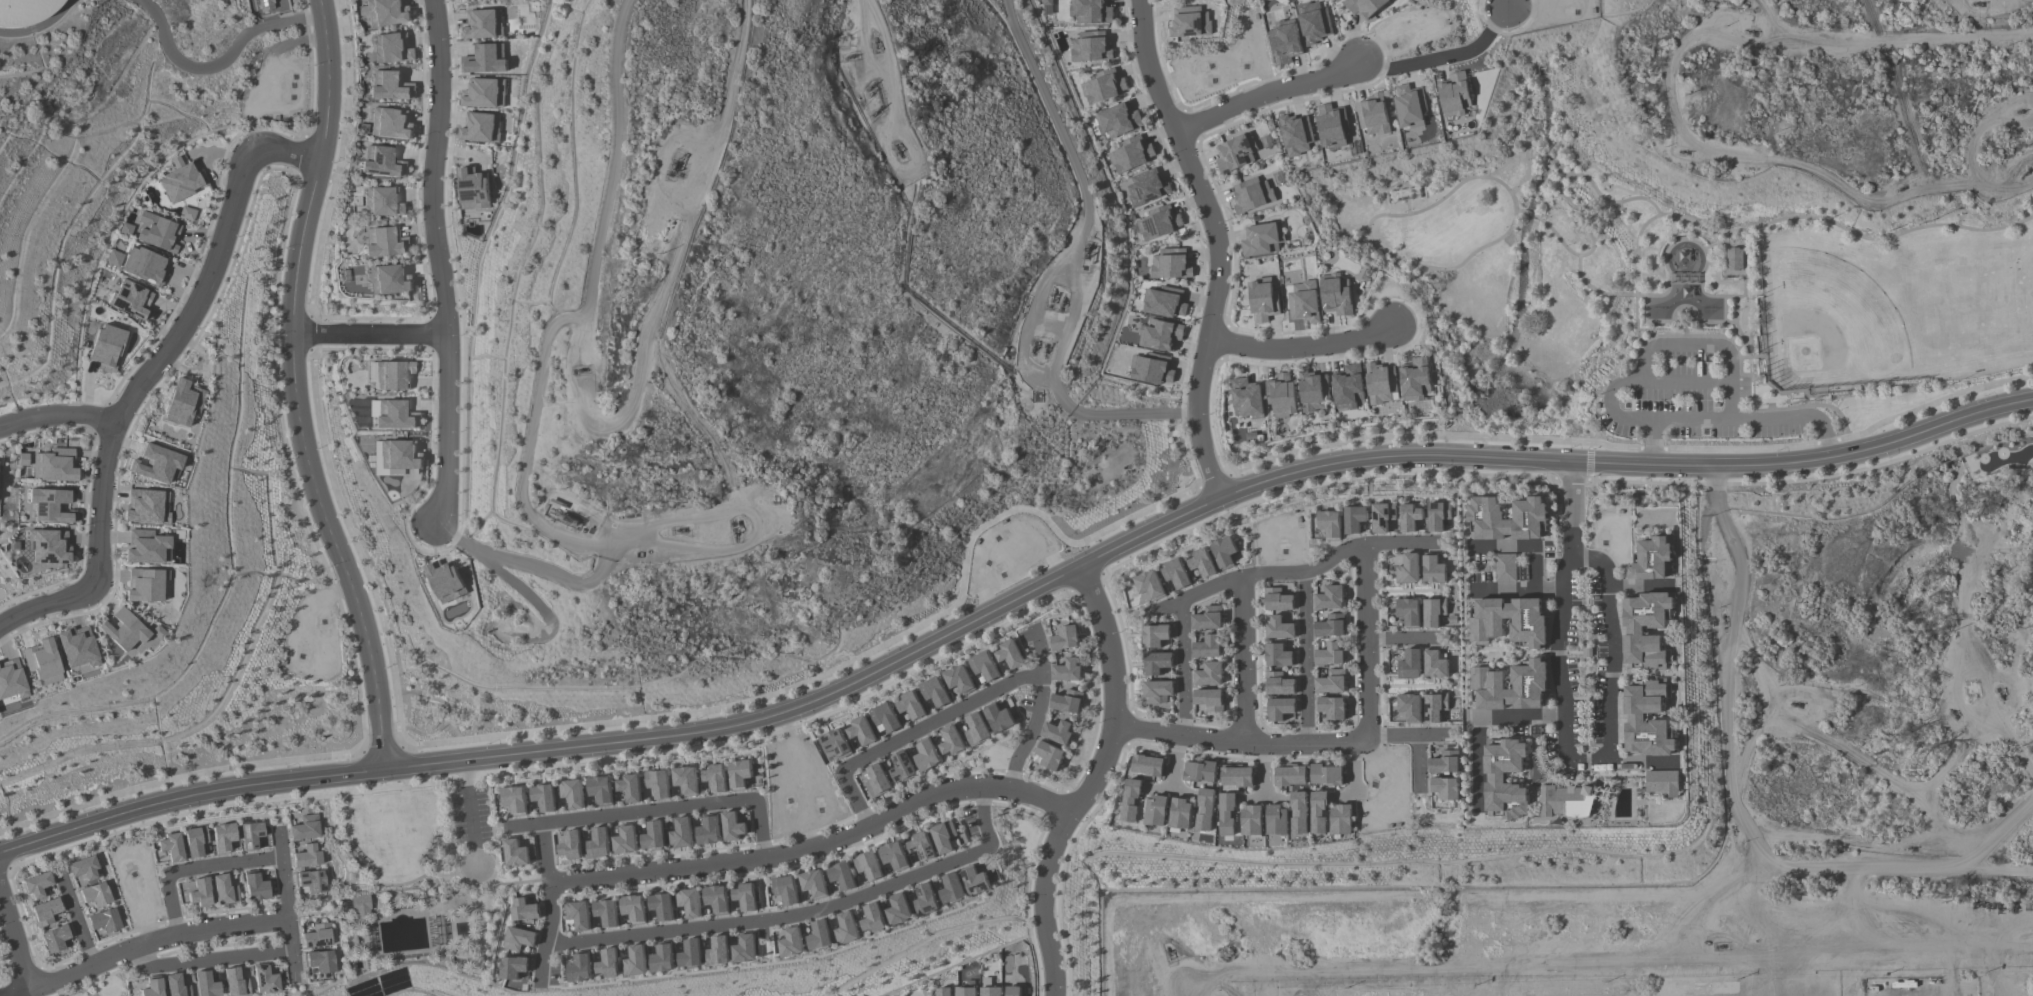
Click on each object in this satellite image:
road: (1507, 3)
petroleum well: (1977, 3)
building: (1046, 7)
building: (1364, 7)
building: (385, 12)
building: (1092, 12)
building: (26, 13)
storage tank: (26, 13)
building: (1189, 22)
building: (1313, 22)
building: (482, 24)
petroleum well: (1749, 32)
petroleum well: (875, 40)
building: (1284, 41)
building: (1090, 46)
building: (392, 48)
road: (219, 54)
petroleum well: (850, 55)
building: (485, 59)
road: (1445, 59)
petroleum well: (870, 84)
building: (390, 86)
building: (1105, 86)
building: (484, 93)
road: (1270, 93)
building: (1454, 95)
building: (1409, 106)
petroleum well: (877, 107)
petroleum well: (2018, 112)
building: (1372, 114)
building: (1119, 120)
building: (390, 123)
building: (1331, 125)
building: (480, 127)
building: (1296, 135)
petroleum well: (898, 148)
petroleum well: (1683, 151)
building: (1235, 153)
building: (1131, 154)
building: (382, 161)
petroleum well: (672, 162)
road: (1527, 169)
petroleum well: (2025, 171)
building: (181, 182)
building: (1145, 187)
petroleum well: (1900, 187)
building: (473, 189)
building: (1251, 194)
building: (383, 201)
road: (1569, 203)
road: (1407, 205)
road: (1618, 205)
building: (186, 213)
road: (1774, 219)
road: (1958, 221)
building: (1158, 223)
building: (157, 232)
road: (1729, 236)
building: (1262, 239)
road: (1694, 239)
building: (384, 242)
road: (1216, 246)
petroleum well: (1086, 248)
building: (1685, 257)
building: (114, 258)
building: (1733, 259)
road: (437, 261)
road: (1076, 263)
building: (1170, 263)
building: (144, 265)
road: (1459, 265)
road: (214, 267)
road: (1684, 274)
building: (389, 279)
park: (1681, 283)
building: (1335, 294)
petroleum well: (1050, 296)
building: (131, 299)
building: (1262, 299)
petroleum well: (1061, 301)
building: (1302, 301)
building: (1165, 302)
road: (1724, 309)
road: (1677, 322)
road: (370, 333)
road: (1685, 333)
building: (1161, 335)
road: (1709, 336)
road: (550, 342)
road: (1707, 345)
building: (107, 347)
petroleum well: (1033, 347)
road: (1303, 347)
petroleum well: (1043, 351)
road: (1744, 358)
petroleum well: (581, 368)
building: (1152, 369)
building: (395, 374)
building: (1415, 379)
building: (1380, 383)
building: (1347, 387)
road: (292, 389)
building: (1313, 393)
building: (1283, 395)
building: (1246, 399)
road: (1933, 402)
building: (183, 403)
building: (372, 407)
road: (1751, 409)
road: (57, 415)
building: (396, 415)
parking lot: (1698, 415)
road: (1664, 420)
road: (1431, 434)
road: (1827, 441)
road: (1652, 443)
road: (1651, 447)
road: (1740, 448)
building: (156, 463)
road: (1626, 464)
building: (54, 465)
road: (1814, 477)
road: (1570, 478)
road: (1213, 480)
road: (1320, 483)
road: (1595, 495)
building: (50, 505)
building: (146, 506)
building: (1485, 512)
building: (1438, 515)
building: (1382, 516)
building: (1409, 517)
building: (1354, 519)
building: (1328, 523)
petroleum well: (679, 529)
petroleum well: (734, 531)
building: (49, 546)
building: (147, 547)
road: (1523, 549)
building: (1224, 551)
road: (1554, 552)
road: (101, 557)
road: (1584, 557)
building: (1652, 559)
building: (1201, 563)
road: (530, 567)
building: (1504, 567)
building: (1407, 569)
building: (1432, 570)
building: (1174, 573)
road: (1297, 573)
building: (445, 581)
building: (146, 584)
building: (1149, 584)
road: (1637, 585)
road: (1380, 588)
road: (1519, 589)
road: (1545, 589)
building: (1329, 597)
road: (1573, 607)
building: (1278, 611)
building: (1408, 611)
building: (1433, 611)
building: (1207, 618)
road: (1464, 619)
building: (1330, 626)
building: (1527, 627)
building: (123, 629)
building: (1633, 631)
building: (1154, 635)
road: (1381, 637)
building: (1065, 638)
road: (1402, 639)
road: (1367, 643)
building: (77, 646)
road: (1484, 646)
building: (1207, 647)
road: (1575, 651)
road: (1534, 652)
road: (1555, 652)
road: (1504, 653)
road: (1508, 653)
building: (1329, 654)
road: (1528, 654)
building: (1008, 655)
building: (1277, 655)
road: (1304, 656)
road: (1522, 658)
road: (1484, 660)
road: (1585, 660)
road: (1243, 661)
building: (42, 662)
road: (847, 662)
road: (1126, 662)
building: (1156, 663)
building: (1408, 664)
building: (1434, 664)
building: (983, 666)
road: (1974, 666)
building: (1067, 670)
road: (1226, 671)
road: (1589, 672)
road: (1599, 673)
road: (1648, 673)
building: (1208, 674)
road: (1612, 674)
building: (12, 679)
building: (958, 679)
building: (1527, 680)
building: (1330, 682)
building: (1278, 684)
road: (1382, 686)
building: (933, 691)
building: (1156, 693)
petroleum well: (1999, 694)
road: (1181, 695)
road: (1579, 697)
building: (1208, 699)
building: (1066, 701)
road: (1591, 703)
petroleum well: (1795, 703)
building: (910, 705)
building: (1332, 707)
building: (1409, 707)
building: (1434, 707)
building: (1279, 708)
road: (1038, 711)
petroleum well: (1953, 714)
road: (1545, 715)
building: (1634, 717)
building: (883, 718)
road: (1474, 718)
road: (1183, 719)
road: (1679, 719)
building: (975, 729)
building: (860, 731)
building: (1058, 731)
road: (912, 734)
road: (1406, 734)
road: (1382, 735)
road: (1972, 736)
building: (950, 740)
road: (628, 741)
road: (1240, 741)
road: (1563, 741)
building: (834, 742)
road: (1747, 745)
road: (1834, 745)
road: (382, 749)
road: (1176, 749)
road: (1374, 754)
building: (926, 755)
building: (1049, 756)
road: (1219, 756)
road: (1308, 758)
road: (1352, 758)
road: (1263, 759)
road: (1417, 761)
road: (1586, 761)
building: (1444, 762)
road: (1630, 762)
road: (1353, 766)
building: (901, 767)
building: (1144, 767)
road: (1264, 768)
building: (1200, 771)
building: (739, 773)
road: (1587, 773)
building: (1326, 774)
building: (1290, 775)
road: (483, 776)
building: (1236, 776)
road: (178, 777)
building: (714, 777)
building: (1494, 779)
building: (685, 780)
building: (876, 780)
road: (1085, 780)
building: (1661, 782)
building: (657, 783)
building: (629, 788)
building: (1445, 788)
building: (599, 789)
building: (571, 793)
building: (543, 797)
road: (317, 799)
building: (513, 799)
building: (1130, 800)
building: (1566, 801)
road: (275, 803)
road: (658, 809)
building: (1205, 809)
building: (1155, 810)
road: (1733, 811)
building: (1298, 812)
building: (1318, 812)
road: (469, 813)
building: (1180, 813)
building: (1227, 814)
building: (1340, 819)
building: (1251, 820)
building: (1276, 820)
road: (213, 821)
road: (277, 821)
road: (153, 825)
building: (731, 826)
building: (305, 827)
building: (707, 831)
building: (680, 833)
building: (252, 835)
building: (652, 836)
building: (943, 836)
building: (222, 837)
building: (624, 840)
road: (95, 841)
building: (195, 841)
road: (1072, 842)
building: (595, 843)
building: (570, 845)
road: (815, 847)
building: (920, 847)
building: (170, 848)
petroleum well: (1909, 848)
building: (515, 853)
building: (893, 855)
building: (307, 856)
building: (868, 865)
road: (193, 867)
road: (1999, 868)
building: (83, 869)
building: (841, 875)
building: (311, 881)
building: (975, 881)
building: (813, 883)
building: (36, 884)
building: (255, 887)
road: (112, 888)
building: (951, 888)
building: (785, 889)
building: (224, 890)
building: (200, 892)
building: (95, 895)
building: (744, 896)
road: (287, 898)
building: (715, 898)
building: (925, 899)
building: (688, 902)
road: (550, 904)
building: (524, 906)
building: (661, 906)
road: (235, 908)
building: (632, 908)
building: (899, 910)
building: (47, 912)
building: (605, 912)
road: (803, 912)
road: (311, 913)
building: (577, 915)
road: (75, 916)
road: (174, 918)
building: (873, 918)
building: (104, 920)
road: (334, 921)
road: (126, 931)
road: (130, 931)
building: (819, 935)
road: (15, 936)
building: (317, 936)
building: (518, 938)
building: (54, 939)
road: (148, 941)
building: (792, 942)
road: (224, 943)
petroleum well: (1719, 946)
road: (87, 948)
building: (745, 949)
petroleum well: (1167, 950)
building: (716, 951)
building: (690, 953)
building: (662, 958)
road: (143, 960)
road: (212, 960)
building: (320, 961)
building: (634, 961)
building: (607, 963)
road: (6, 967)
building: (513, 967)
building: (579, 968)
road: (24, 972)
building: (249, 980)
road: (93, 981)
building: (205, 984)
building: (176, 986)
building: (152, 988)
road: (94, 989)
building: (943, 991)
building: (965, 991)
building: (990, 991)
building: (1012, 991)

